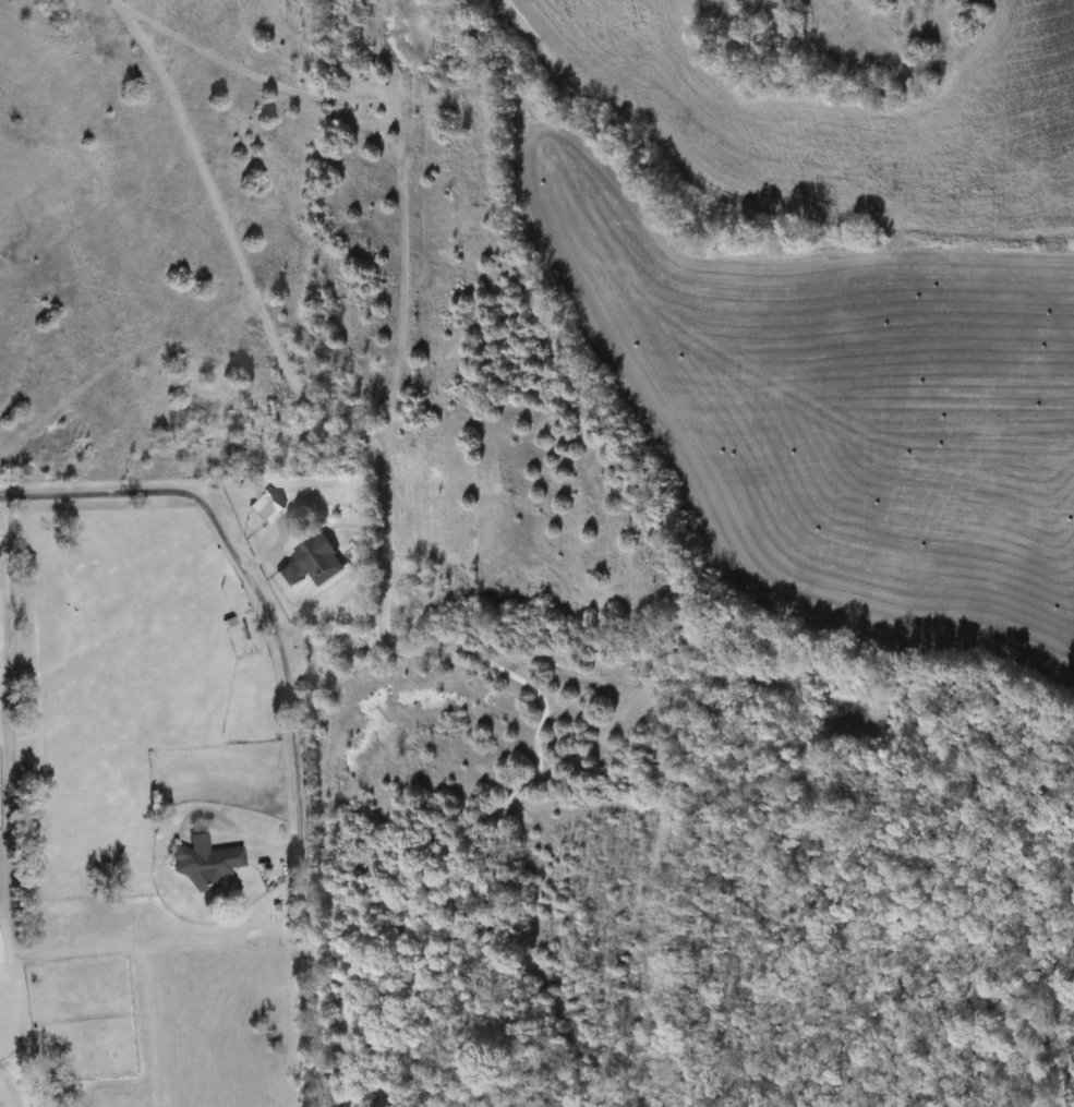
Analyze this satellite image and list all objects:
building: (263, 509)
building: (307, 564)
road: (289, 691)
road: (7, 696)
building: (202, 863)

